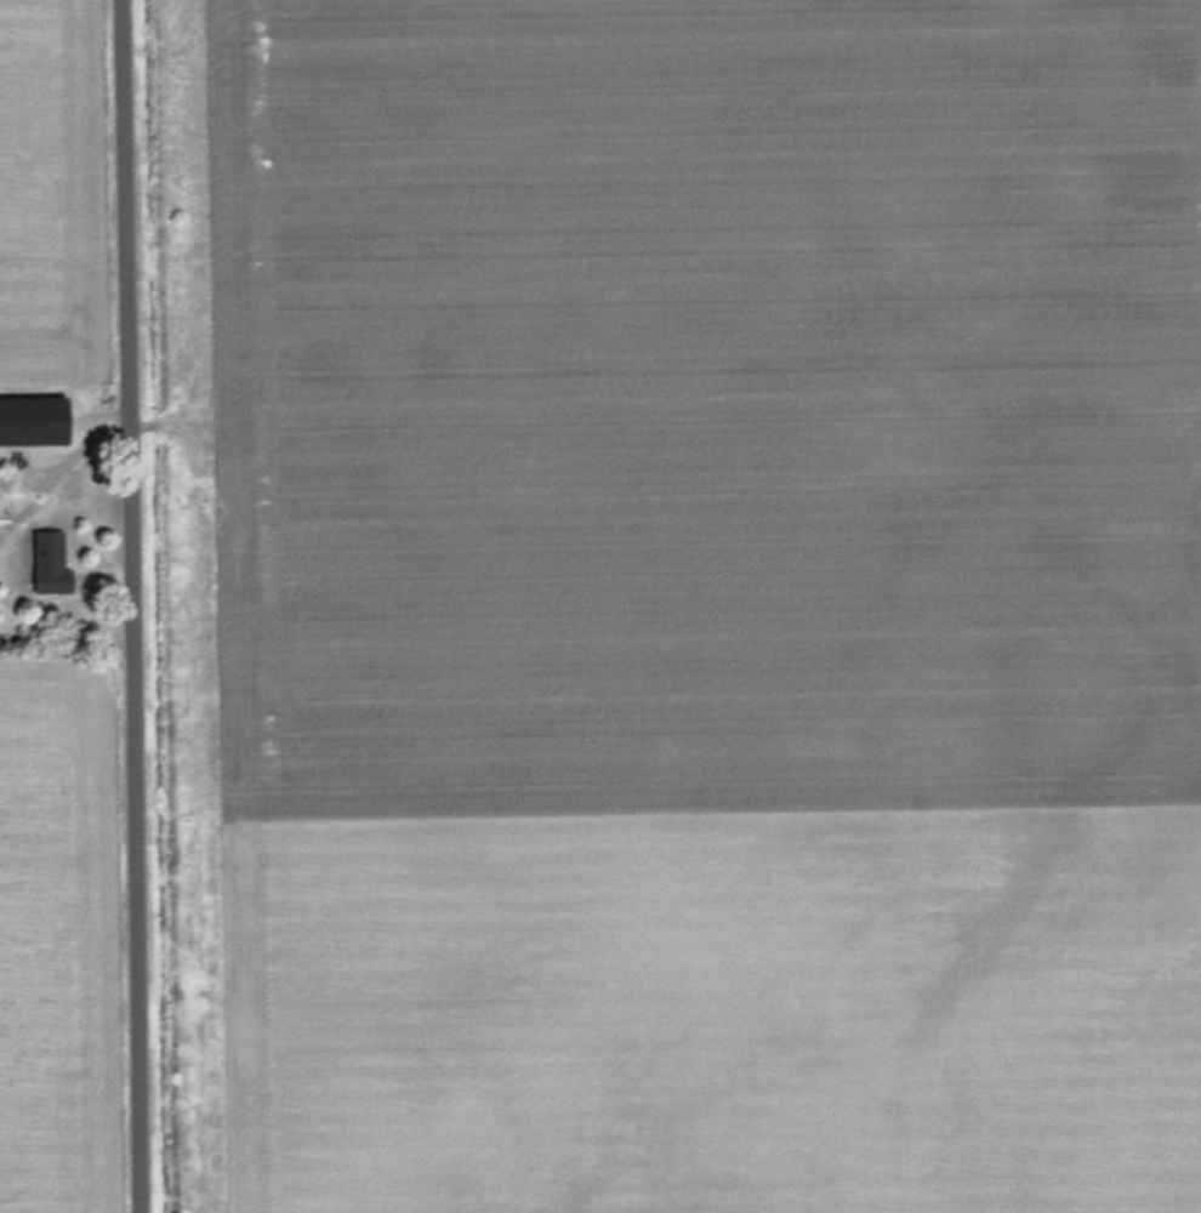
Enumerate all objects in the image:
building: (36, 418)
building: (53, 562)
road: (137, 606)

